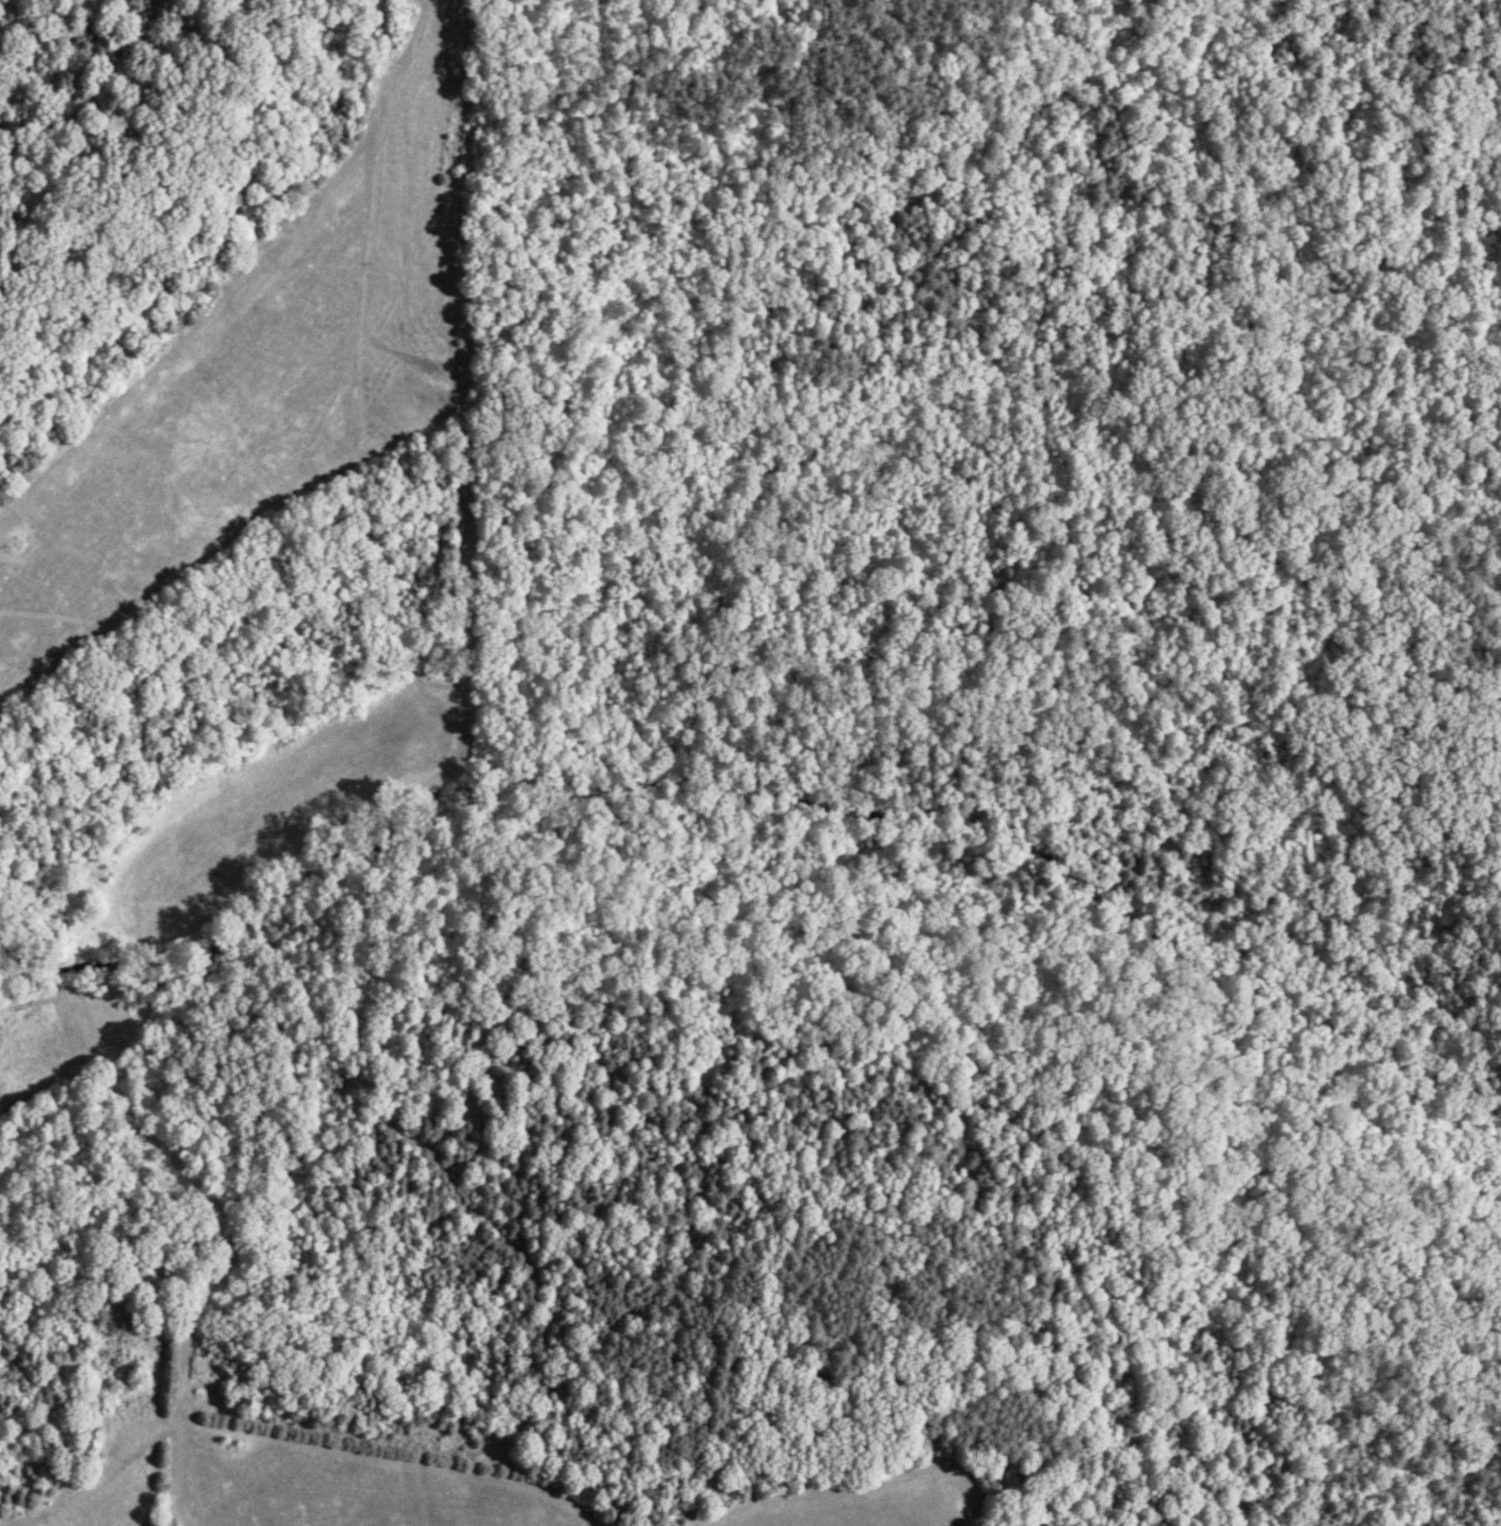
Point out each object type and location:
road: (375, 801)

